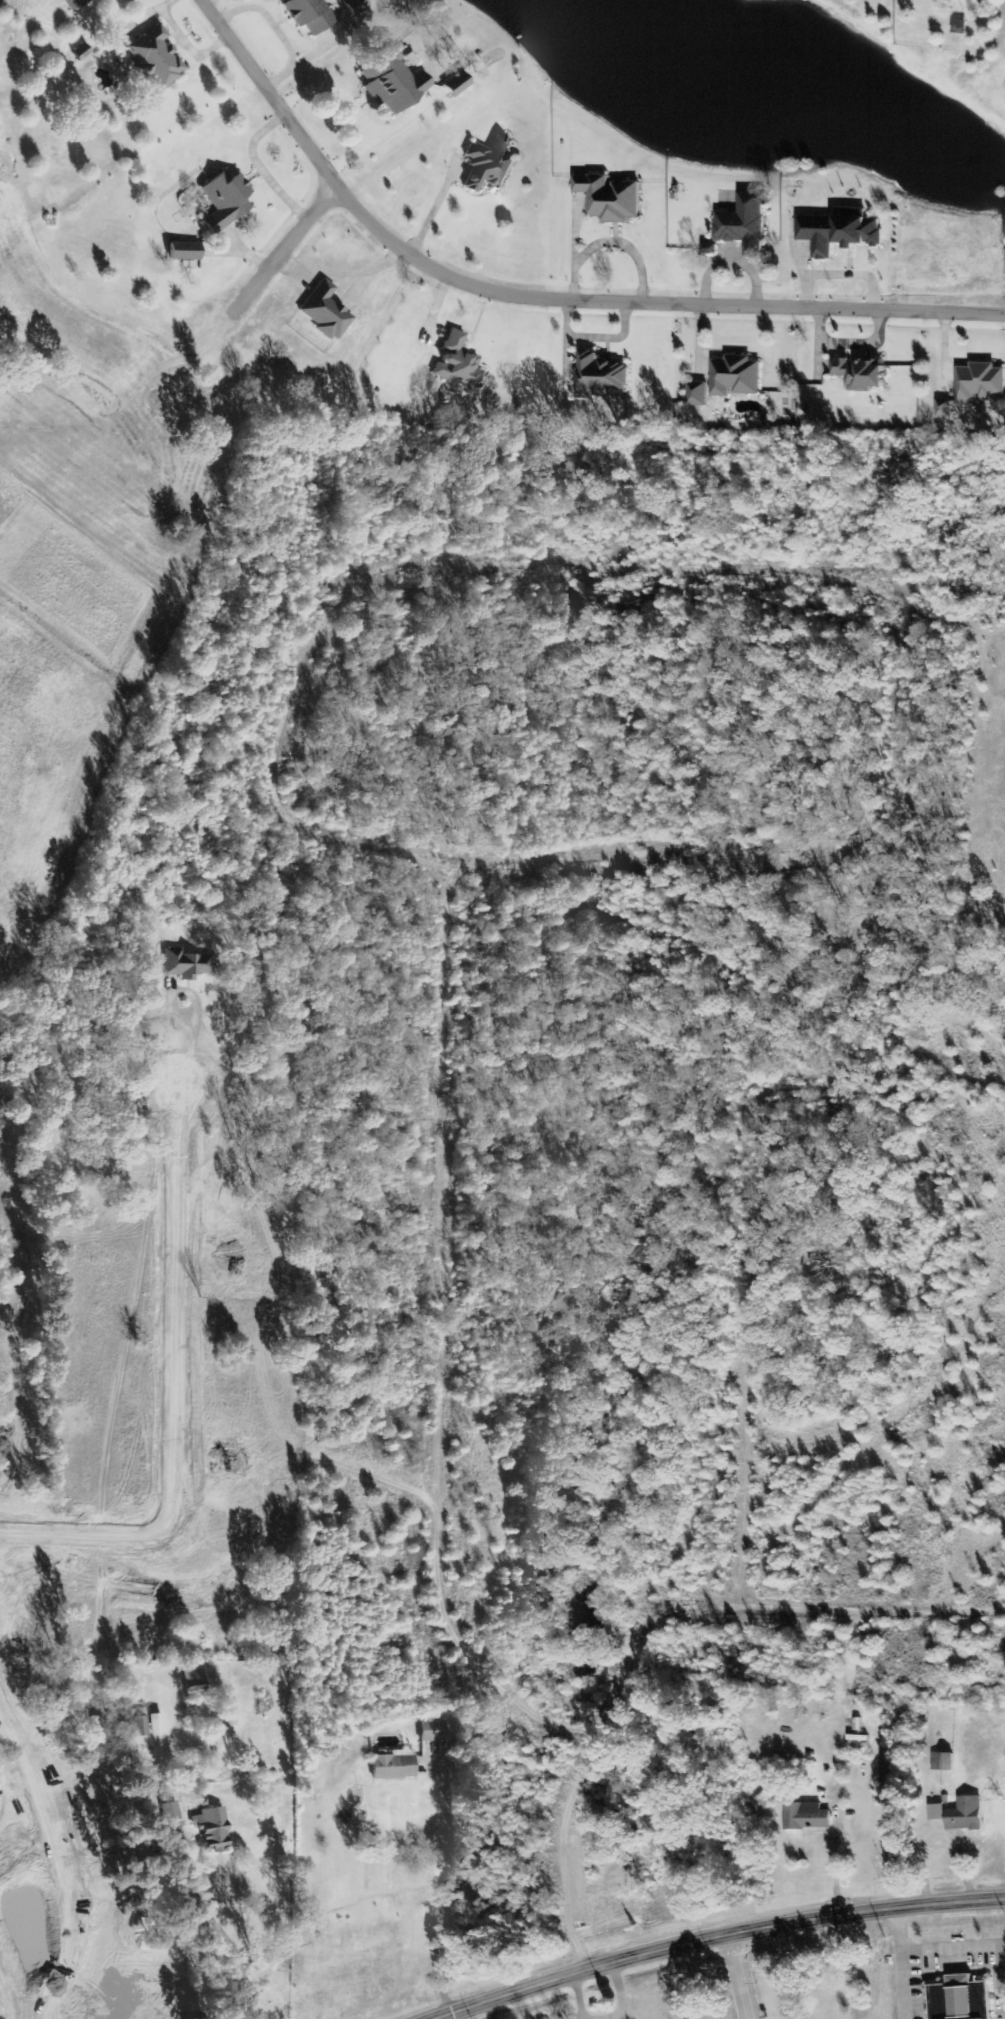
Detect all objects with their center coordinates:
building: (76, 3)
building: (357, 5)
building: (311, 14)
building: (961, 27)
building: (158, 57)
building: (395, 82)
building: (459, 83)
building: (490, 165)
building: (612, 198)
building: (227, 200)
building: (747, 224)
building: (841, 232)
road: (281, 247)
building: (187, 251)
road: (538, 297)
building: (327, 311)
building: (459, 361)
building: (601, 375)
building: (863, 375)
building: (737, 377)
building: (980, 383)
building: (699, 394)
building: (945, 409)
building: (187, 964)
building: (197, 1684)
building: (139, 1719)
building: (158, 1724)
building: (434, 1731)
building: (945, 1762)
building: (396, 1765)
building: (968, 1815)
building: (808, 1817)
building: (214, 1828)
road: (179, 1920)
road: (718, 1938)
road: (24, 1957)
road: (741, 1977)
building: (962, 1998)

